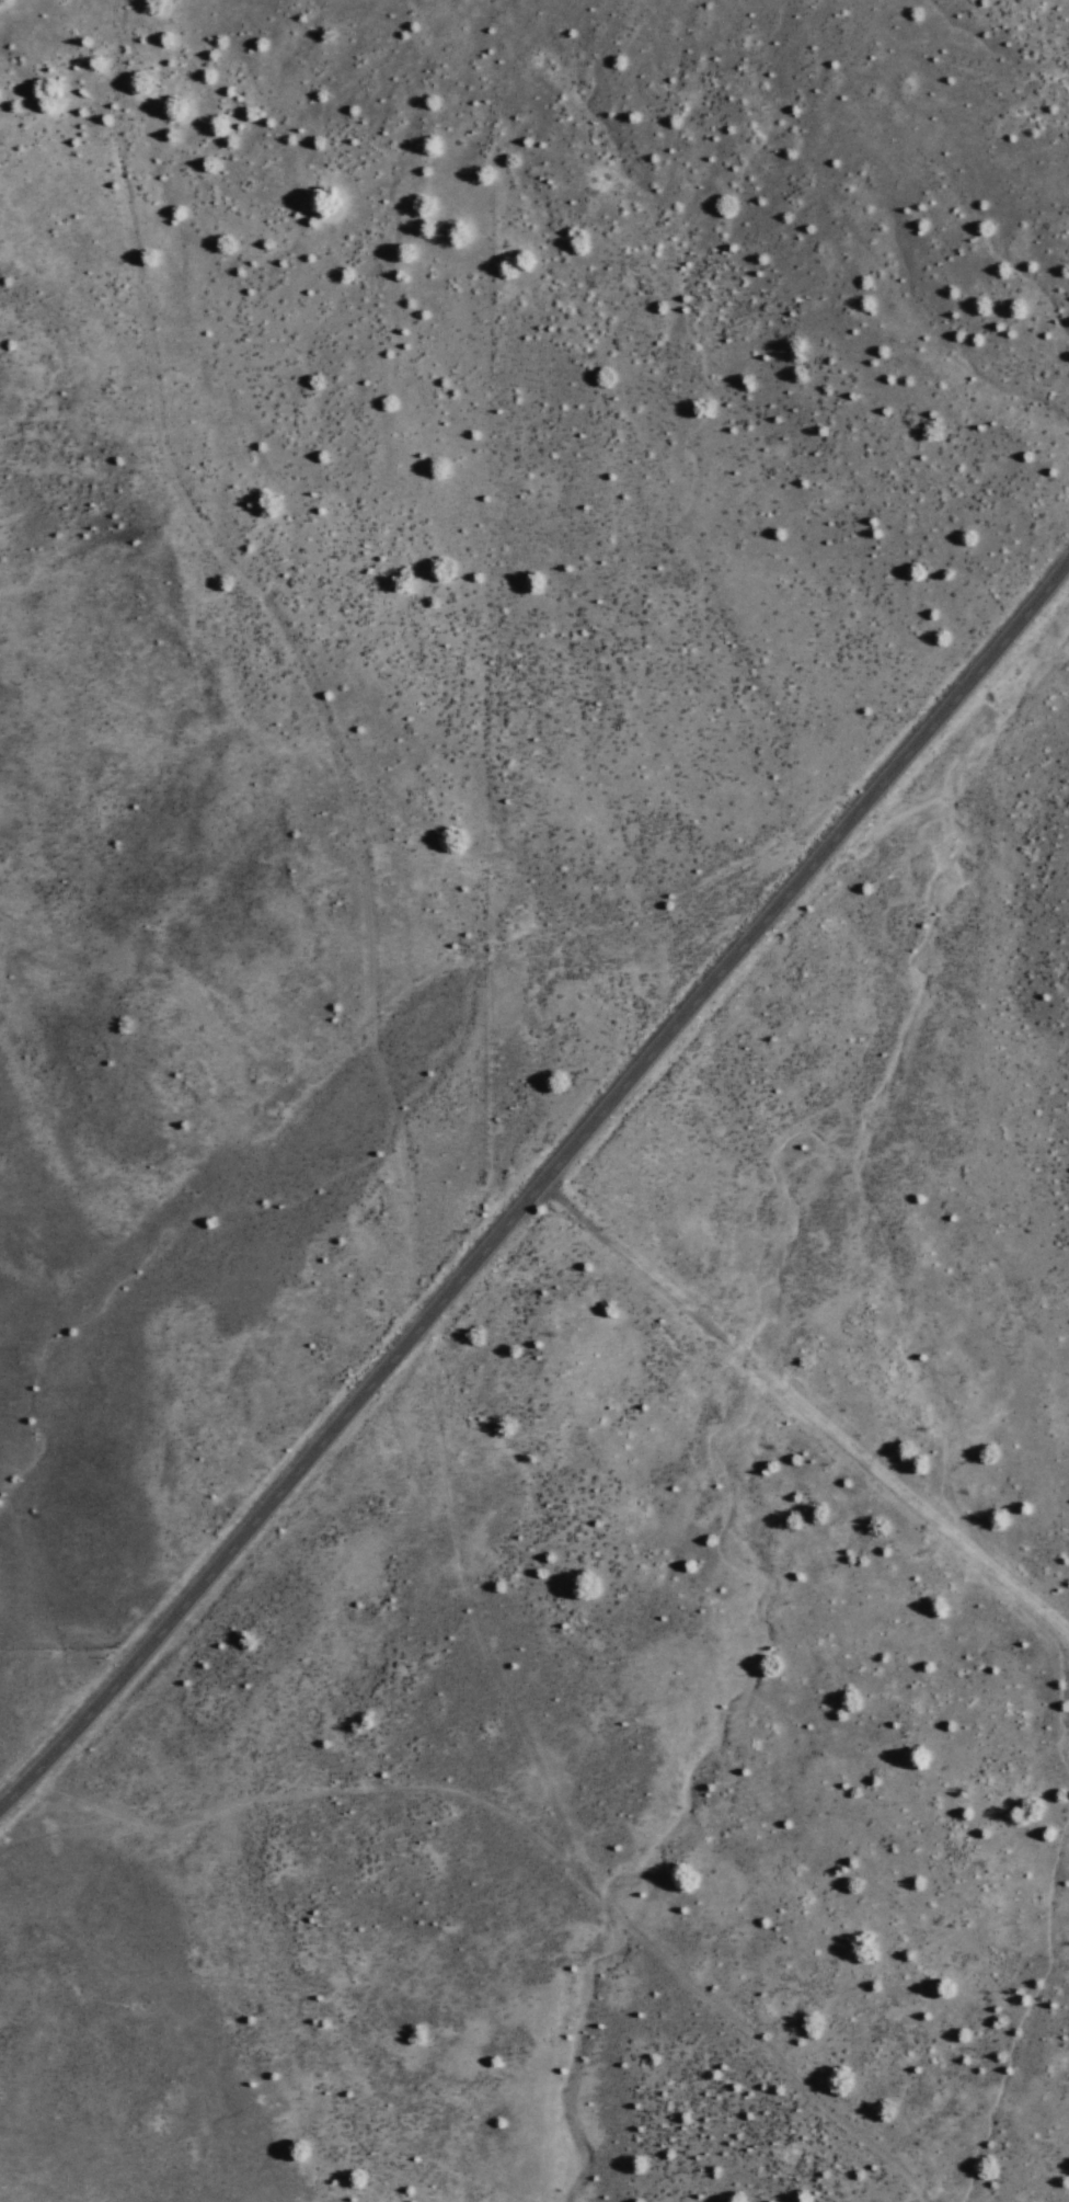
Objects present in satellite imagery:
road: (537, 1197)
road: (470, 1590)
road: (528, 1833)

